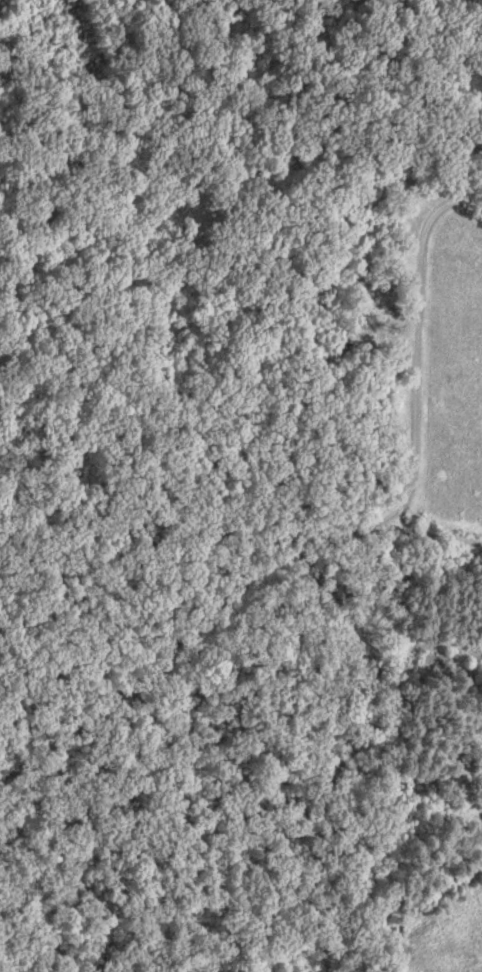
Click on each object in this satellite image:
road: (336, 534)
road: (430, 534)

